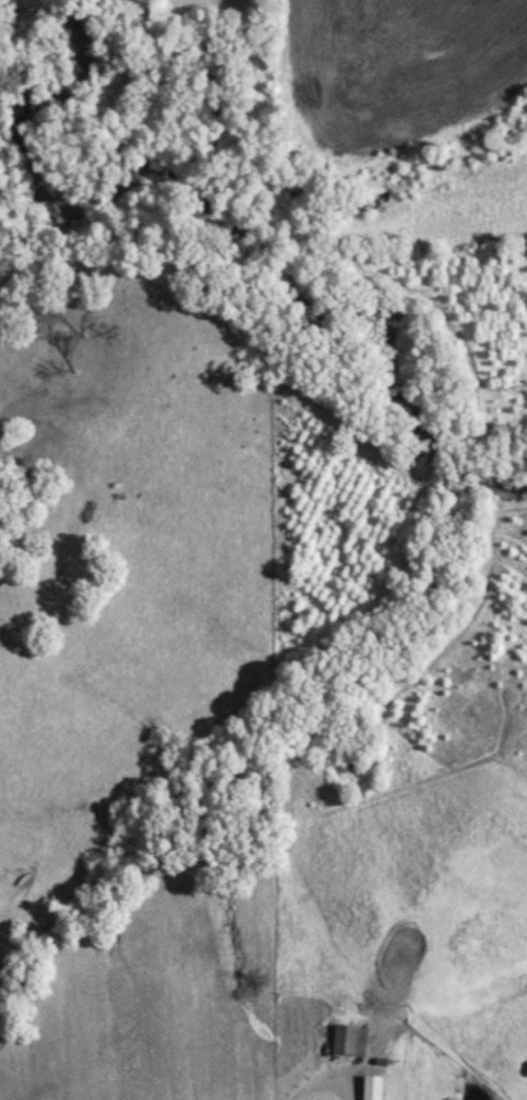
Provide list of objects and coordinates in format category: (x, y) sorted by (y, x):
building: (351, 1039)
road: (330, 1073)
building: (374, 1087)

